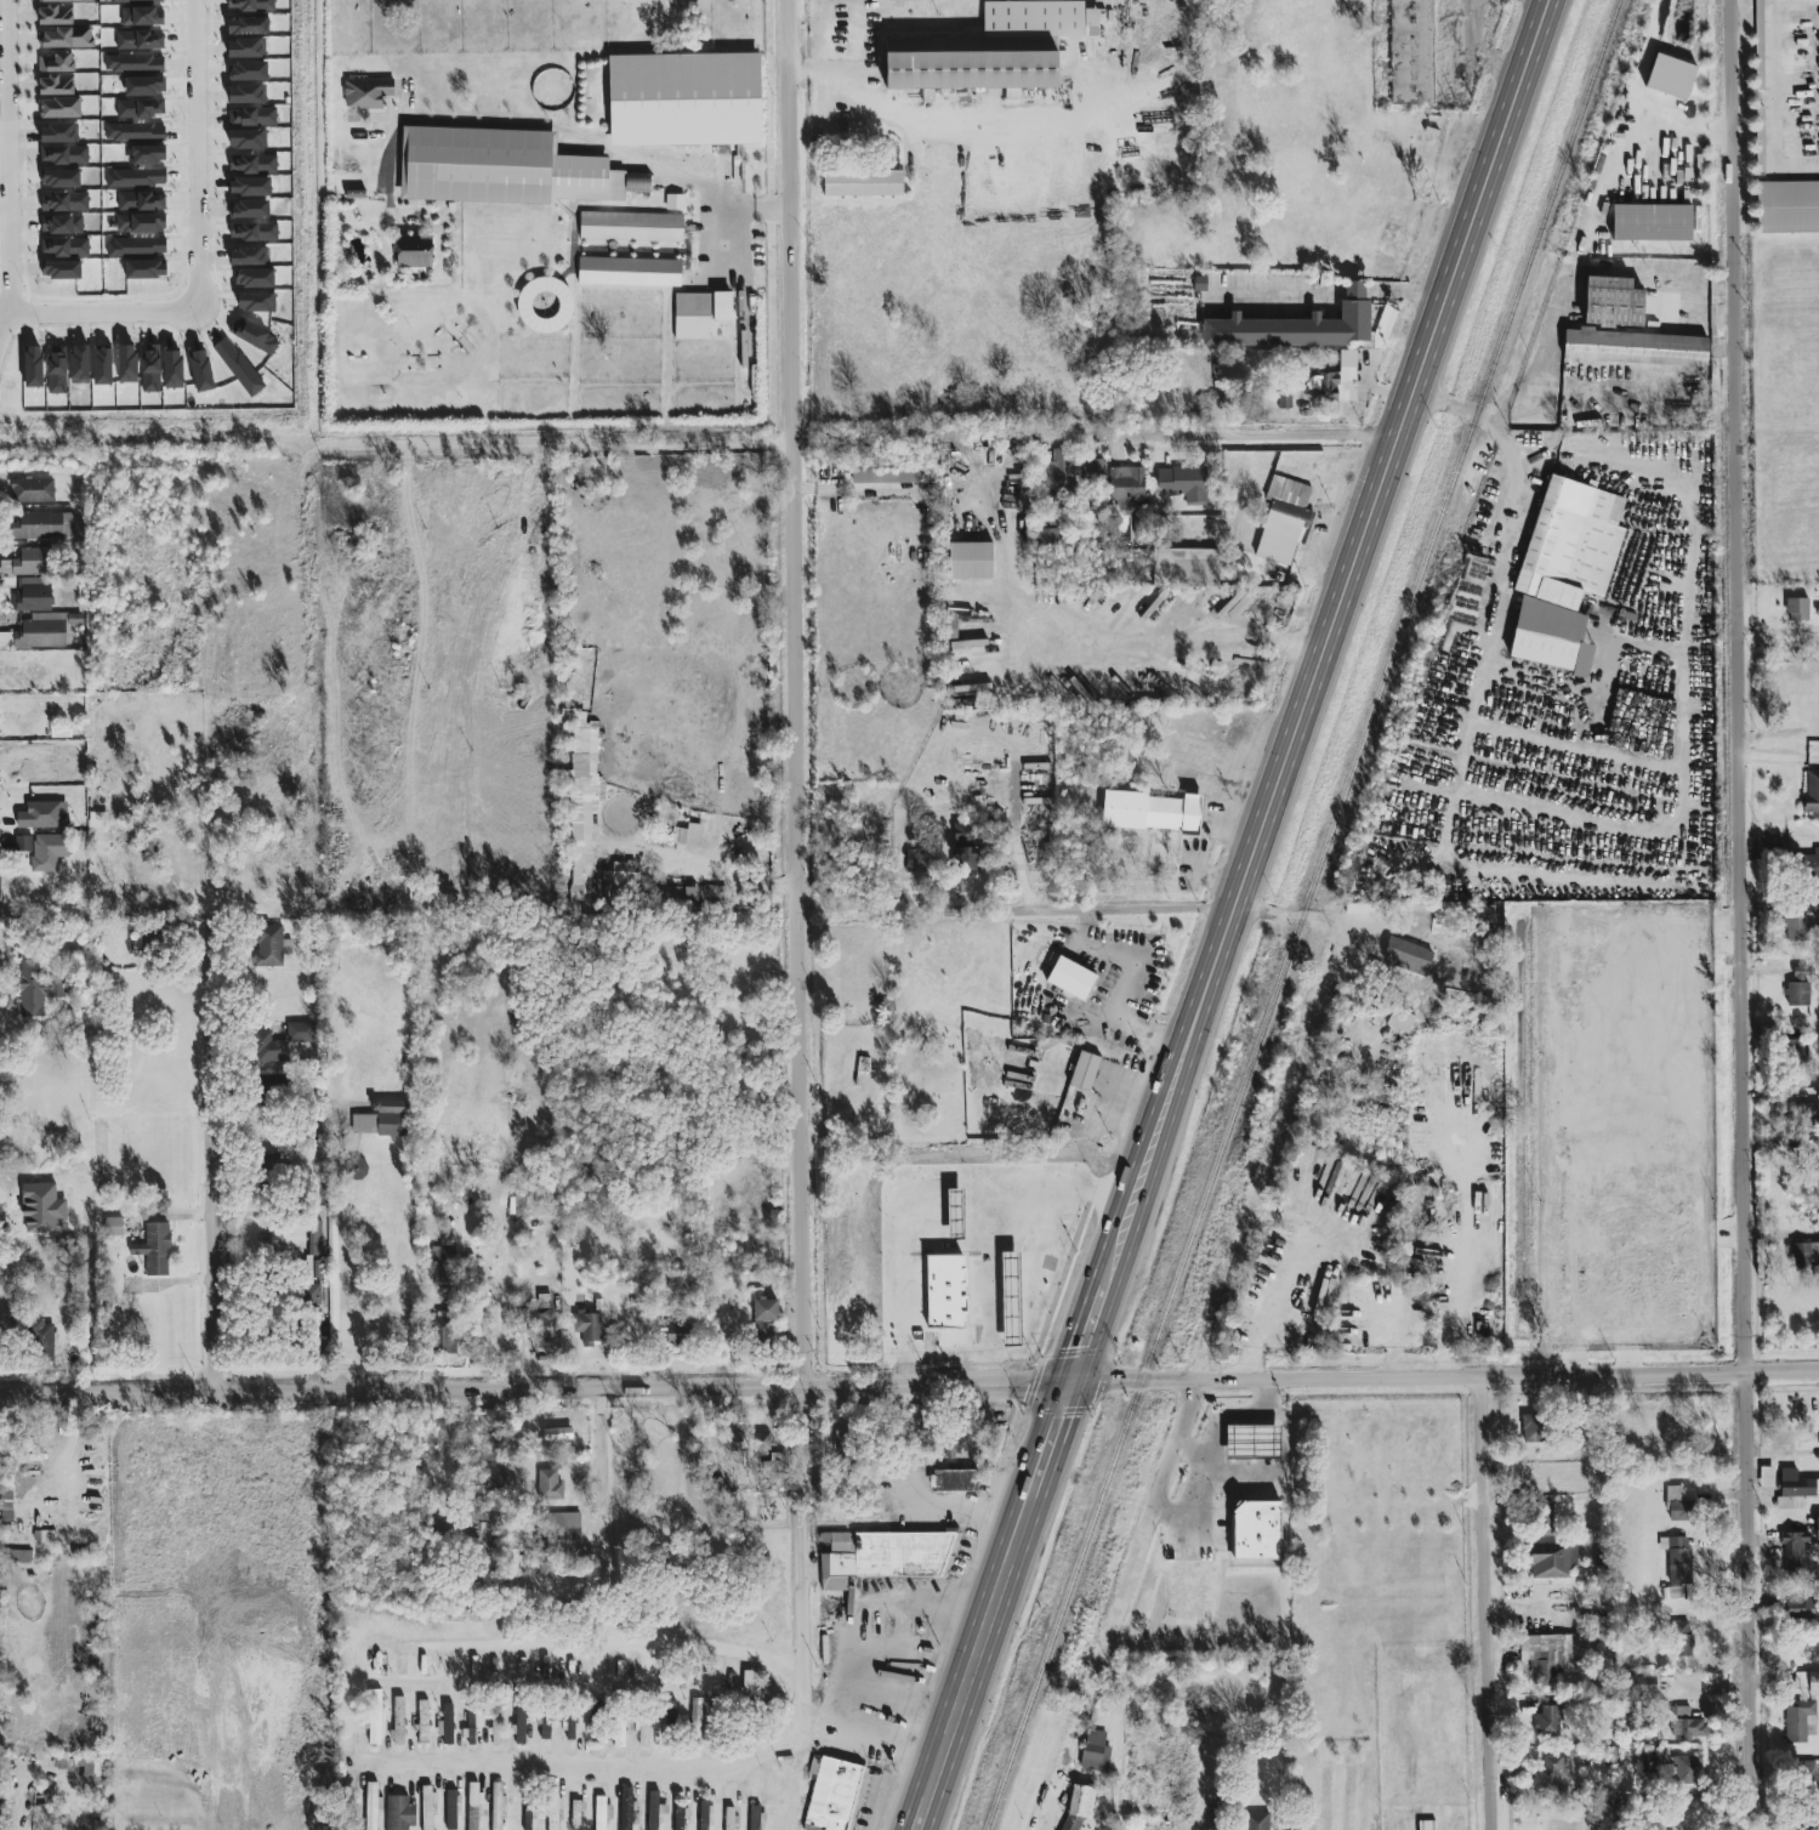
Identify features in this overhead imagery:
building: (64, 1)
building: (55, 16)
building: (66, 39)
building: (1411, 52)
road: (2, 56)
building: (55, 63)
building: (968, 63)
building: (1670, 78)
road: (1769, 84)
building: (56, 85)
building: (368, 92)
building: (684, 101)
building: (59, 108)
road: (944, 124)
road: (568, 132)
road: (1683, 135)
building: (500, 169)
building: (863, 183)
building: (637, 184)
building: (1787, 206)
building: (1650, 223)
building: (630, 227)
building: (414, 252)
building: (629, 272)
road: (1326, 291)
road: (1733, 291)
building: (545, 306)
building: (722, 307)
road: (154, 317)
road: (4, 318)
building: (692, 318)
building: (1296, 326)
building: (1383, 328)
building: (1625, 331)
building: (1346, 376)
building: (1323, 386)
road: (1222, 438)
road: (671, 445)
building: (1068, 471)
building: (885, 476)
building: (1182, 483)
building: (1126, 487)
building: (32, 490)
building: (1287, 510)
building: (36, 525)
building: (1047, 538)
building: (970, 561)
building: (28, 563)
road: (1501, 567)
building: (1564, 573)
building: (32, 596)
building: (1796, 609)
road: (1334, 624)
road: (1587, 631)
building: (39, 632)
road: (1116, 637)
road: (548, 652)
road: (1683, 677)
road: (1571, 748)
building: (1812, 791)
road: (795, 796)
building: (582, 812)
building: (1152, 812)
building: (41, 815)
building: (687, 835)
building: (22, 846)
building: (962, 849)
building: (44, 853)
building: (917, 860)
building: (1811, 864)
road: (1022, 870)
building: (620, 874)
building: (675, 898)
building: (715, 899)
road: (1068, 911)
road: (851, 914)
road: (1296, 915)
railway: (1302, 915)
building: (1800, 925)
building: (272, 947)
building: (1408, 957)
building: (1070, 978)
building: (36, 989)
building: (1797, 989)
building: (1398, 1021)
building: (300, 1033)
building: (271, 1048)
building: (1800, 1048)
building: (1084, 1070)
building: (1807, 1114)
building: (382, 1120)
road: (208, 1159)
road: (457, 1183)
building: (517, 1206)
road: (1740, 1206)
road: (1277, 1215)
building: (113, 1227)
building: (286, 1238)
building: (154, 1250)
building: (1804, 1254)
road: (340, 1256)
building: (444, 1263)
road: (1093, 1317)
building: (764, 1318)
building: (541, 1323)
building: (589, 1328)
building: (677, 1335)
building: (44, 1341)
road: (1444, 1379)
traffic signals: (1070, 1386)
road: (534, 1388)
building: (1531, 1428)
building: (749, 1442)
building: (1781, 1442)
building: (1252, 1443)
road: (1193, 1451)
road: (1211, 1453)
road: (1047, 1454)
building: (1766, 1477)
building: (954, 1482)
building: (1796, 1484)
building: (550, 1485)
road: (606, 1491)
building: (5, 1495)
road: (916, 1496)
building: (474, 1504)
building: (1678, 1505)
building: (1540, 1518)
building: (443, 1527)
building: (1256, 1530)
building: (1818, 1530)
building: (564, 1533)
road: (1141, 1545)
building: (1794, 1552)
building: (18, 1557)
building: (885, 1557)
building: (1678, 1561)
building: (1551, 1564)
road: (666, 1593)
building: (1673, 1593)
building: (1200, 1599)
building: (1246, 1604)
road: (1488, 1604)
building: (1798, 1609)
building: (1681, 1641)
road: (618, 1647)
road: (980, 1650)
building: (1544, 1655)
road: (801, 1661)
building: (1798, 1680)
building: (748, 1683)
building: (1813, 1684)
building: (1630, 1694)
building: (670, 1717)
building: (374, 1718)
building: (1797, 1720)
building: (398, 1721)
building: (695, 1721)
building: (1548, 1721)
building: (422, 1722)
building: (448, 1724)
building: (519, 1724)
building: (1683, 1724)
building: (545, 1727)
building: (471, 1728)
building: (495, 1728)
building: (569, 1729)
building: (642, 1730)
building: (1095, 1752)
building: (1648, 1762)
road: (673, 1767)
building: (1687, 1772)
building: (1546, 1775)
building: (1803, 1781)
building: (834, 1794)
building: (1080, 1801)
road: (926, 1805)
building: (371, 1806)
building: (472, 1806)
building: (496, 1806)
building: (427, 1808)
building: (626, 1808)
building: (451, 1809)
building: (529, 1809)
building: (552, 1811)
building: (653, 1811)
building: (602, 1812)
building: (399, 1813)
building: (576, 1815)
building: (705, 1815)
building: (678, 1817)
building: (755, 1818)
building: (729, 1819)
building: (1254, 1822)
building: (1070, 1823)
building: (1426, 1825)
building: (1667, 1829)

